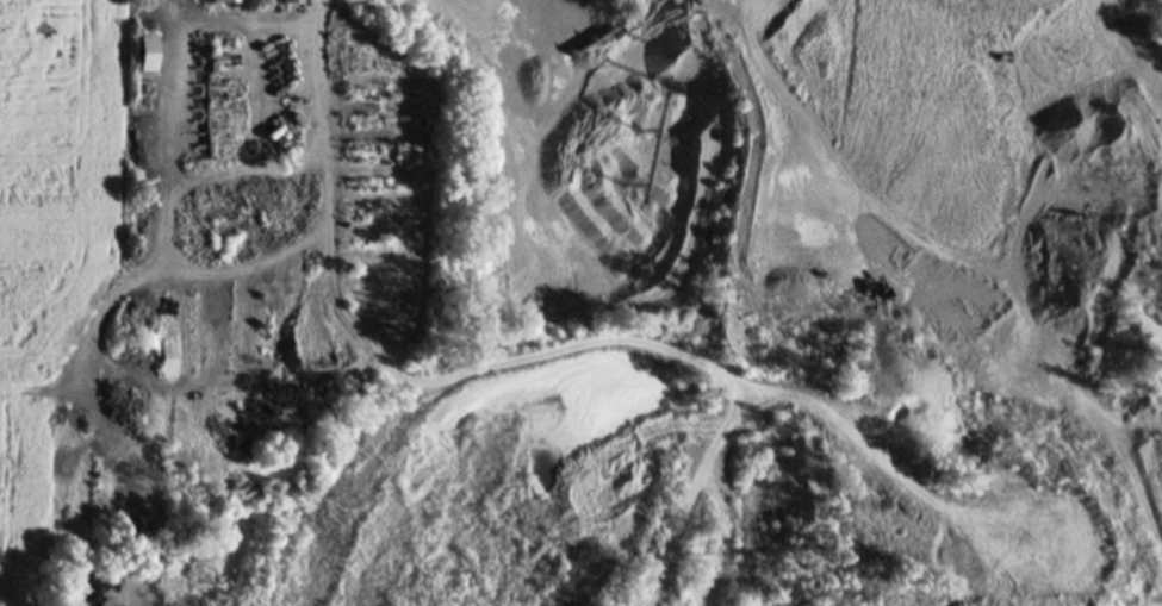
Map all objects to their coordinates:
building: (224, 0)
building: (293, 0)
road: (249, 20)
building: (145, 51)
quarry: (672, 327)

